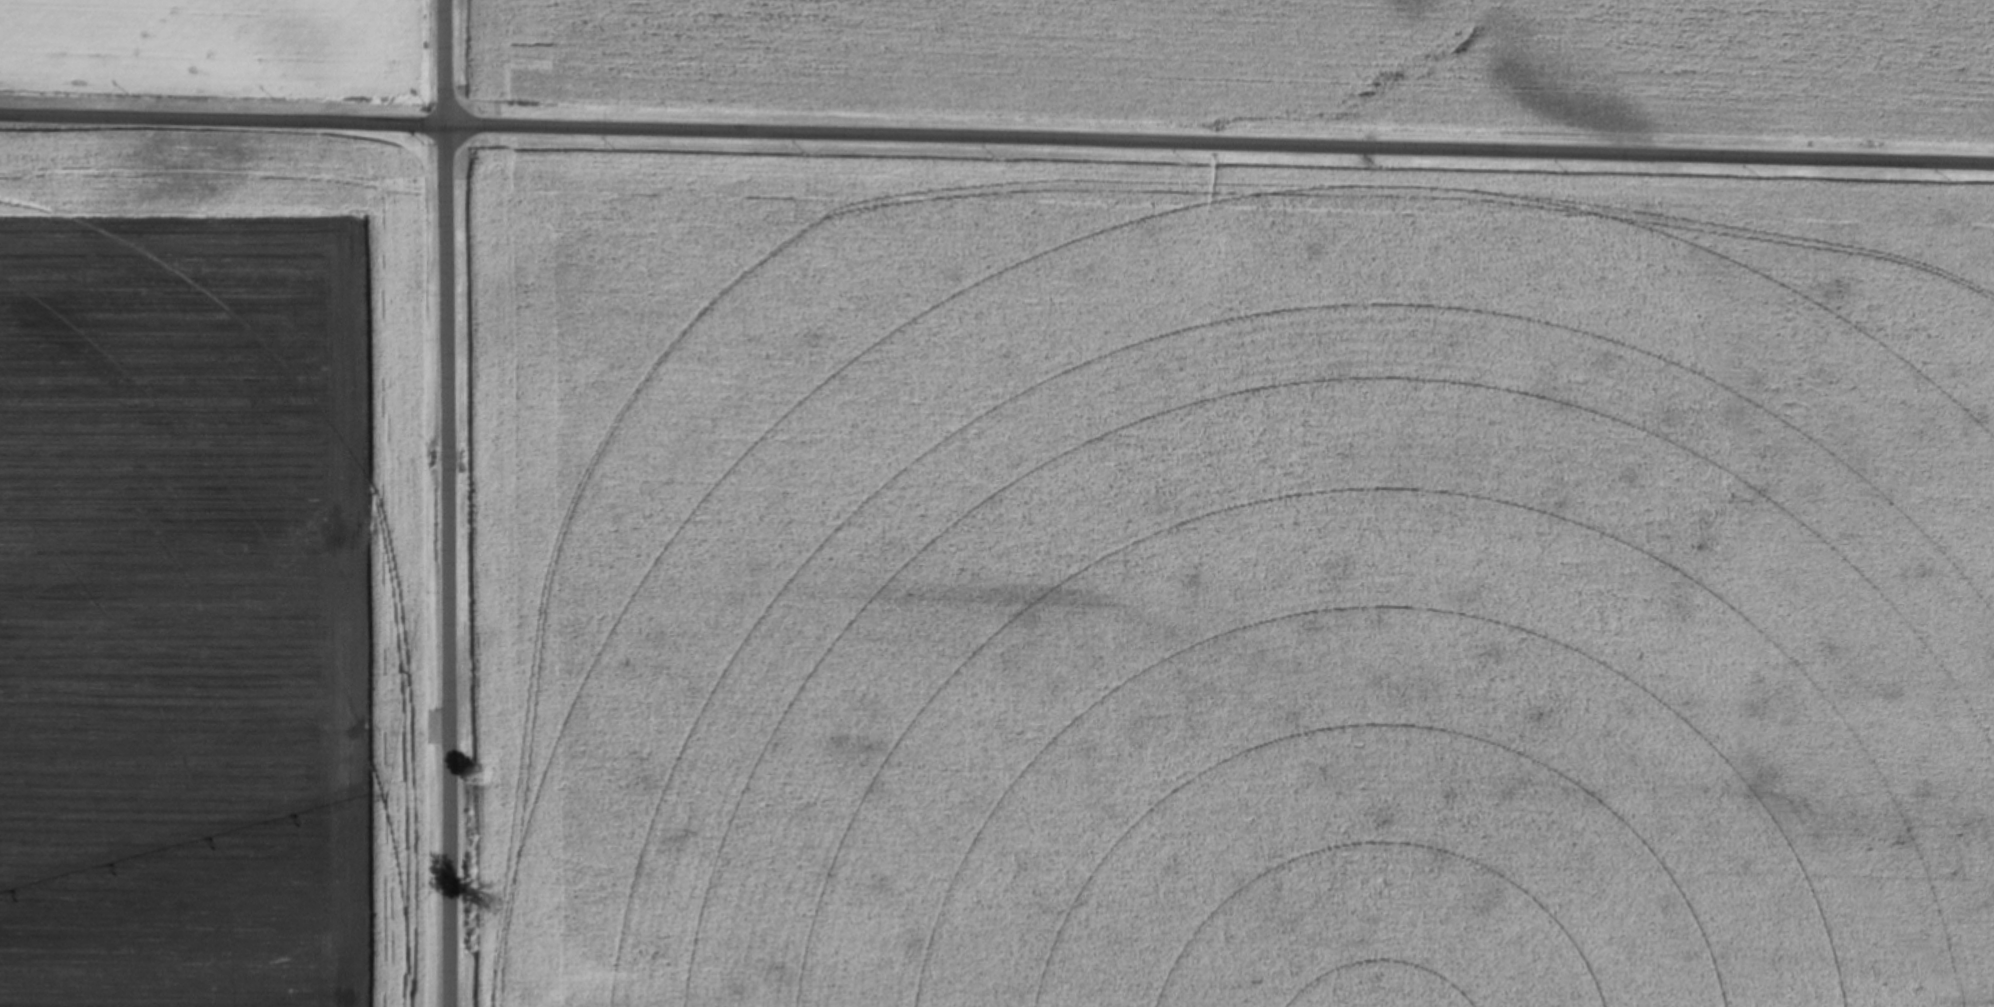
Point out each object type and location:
road: (223, 116)
road: (1220, 141)
road: (448, 503)

